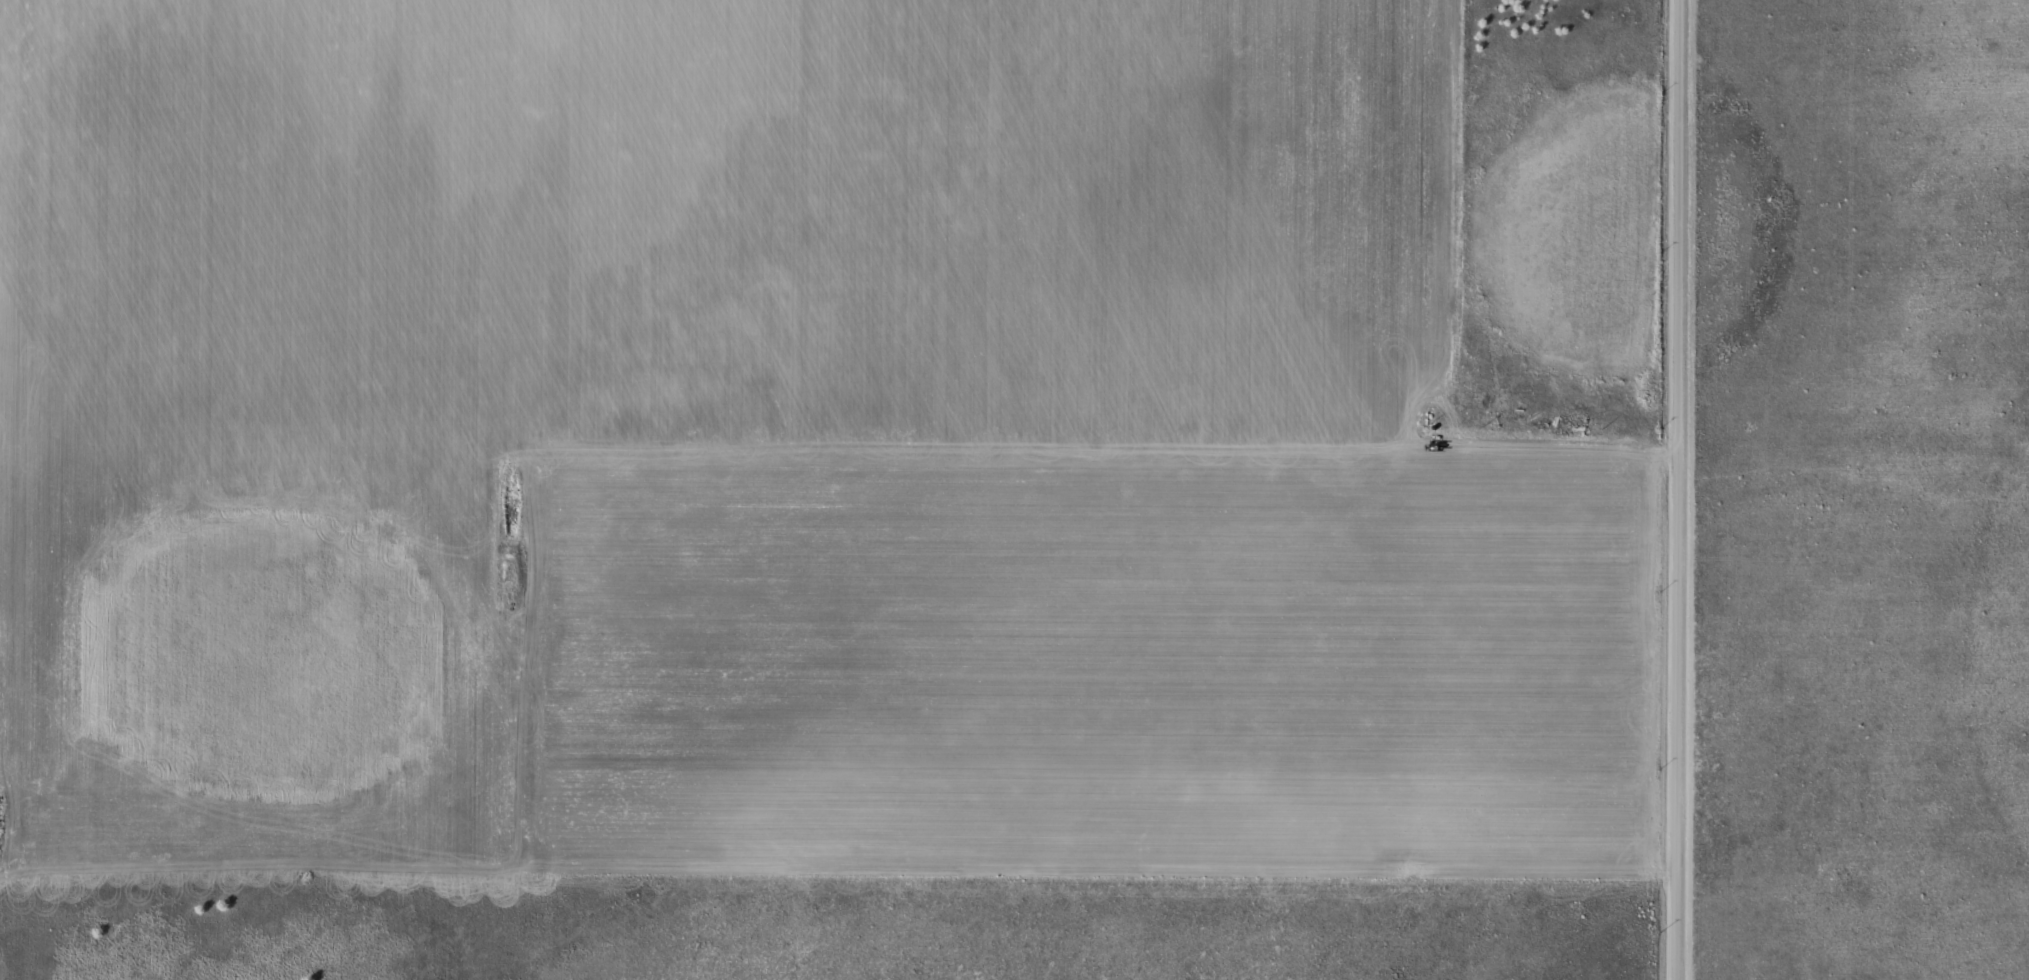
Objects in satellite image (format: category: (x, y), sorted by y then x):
road: (1696, 490)

